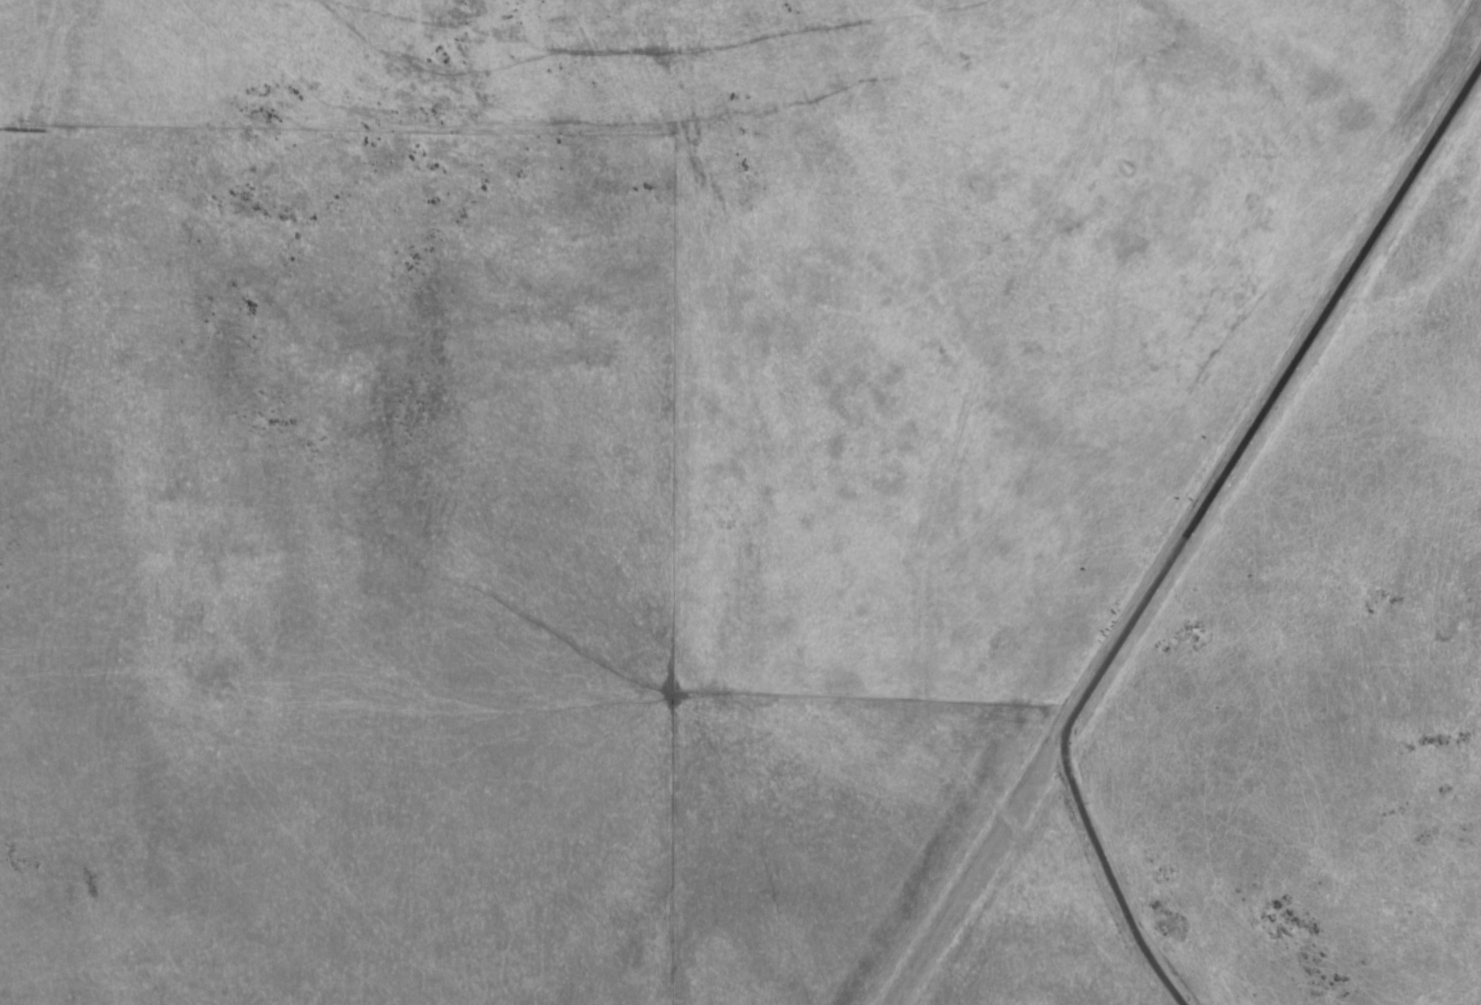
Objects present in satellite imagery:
road: (1190, 529)

